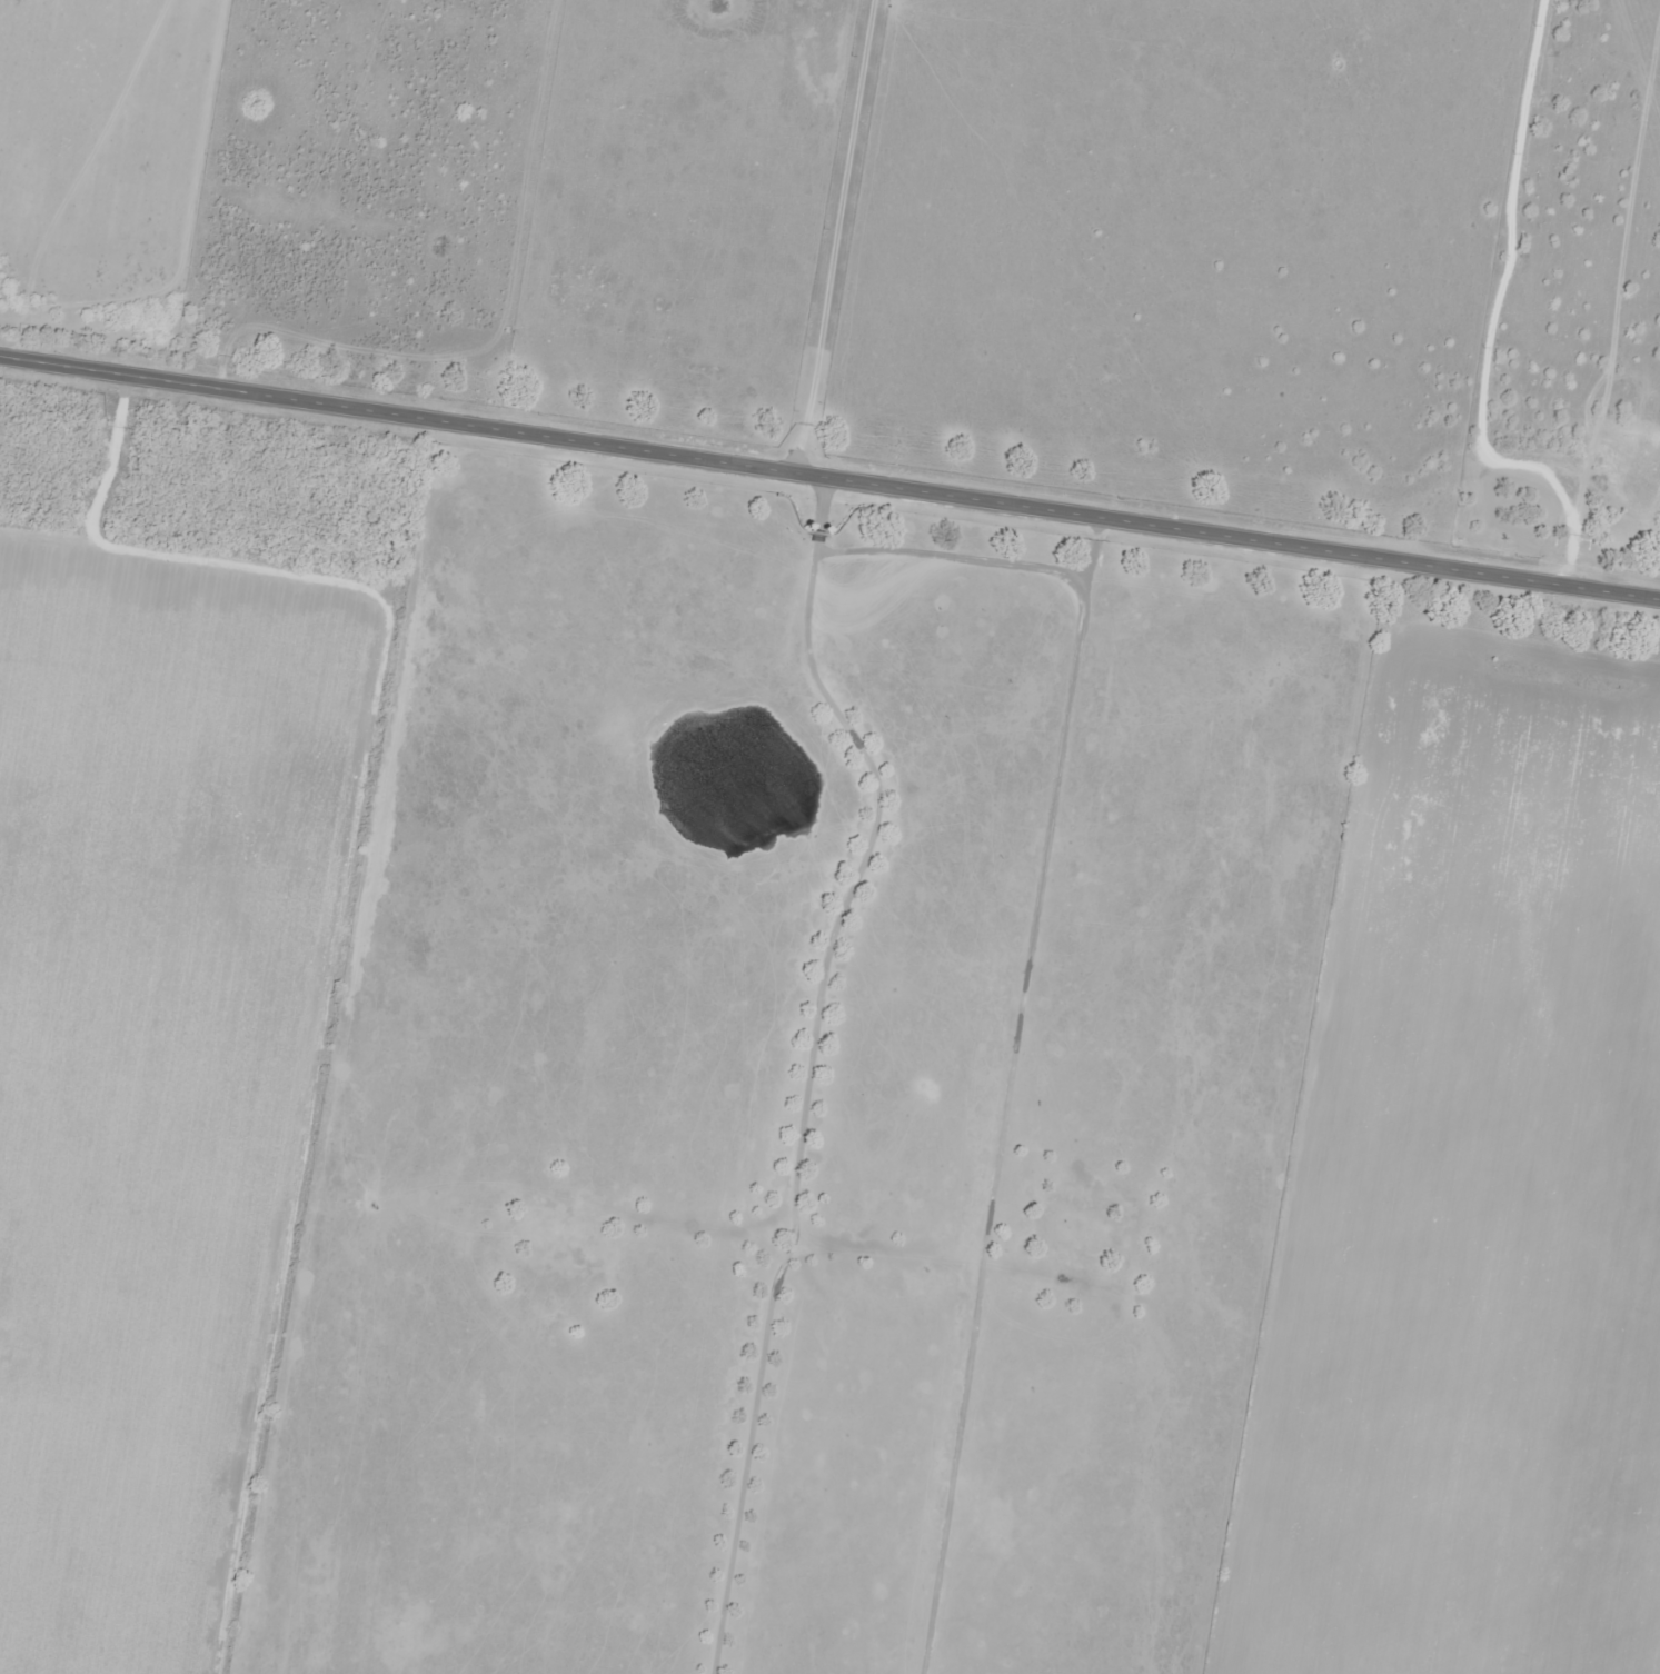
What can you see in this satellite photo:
road: (829, 480)
road: (944, 562)
airport runway: (1170, 871)
road: (805, 1064)
road: (1008, 1096)

